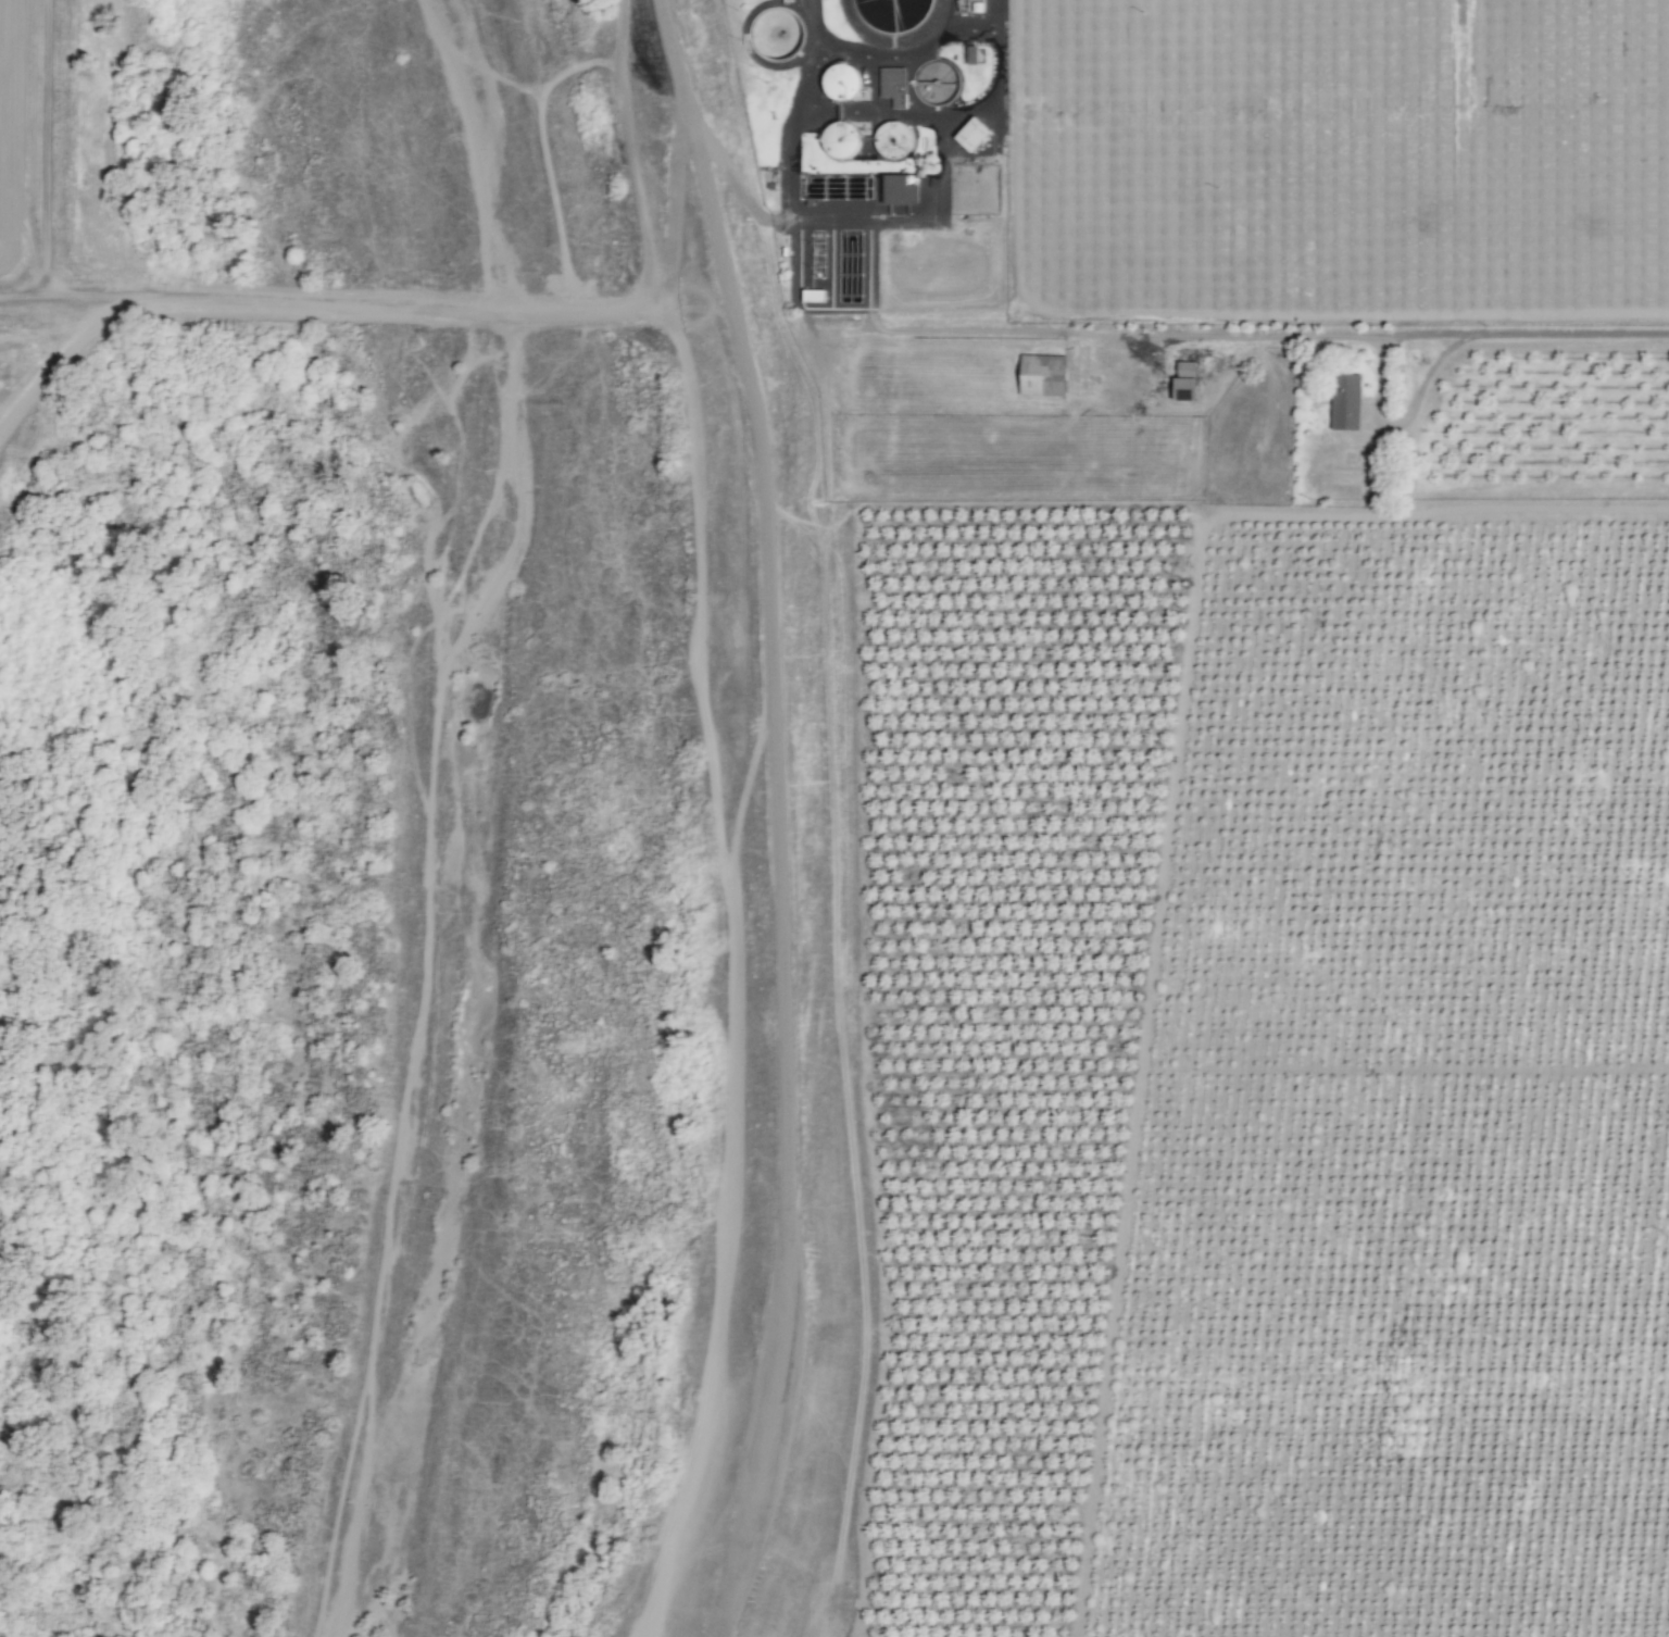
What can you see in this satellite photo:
building: (843, 82)
building: (895, 86)
building: (974, 135)
building: (868, 140)
building: (902, 191)
road: (875, 221)
road: (1389, 336)
building: (1044, 376)
building: (1346, 402)
road: (688, 1020)

